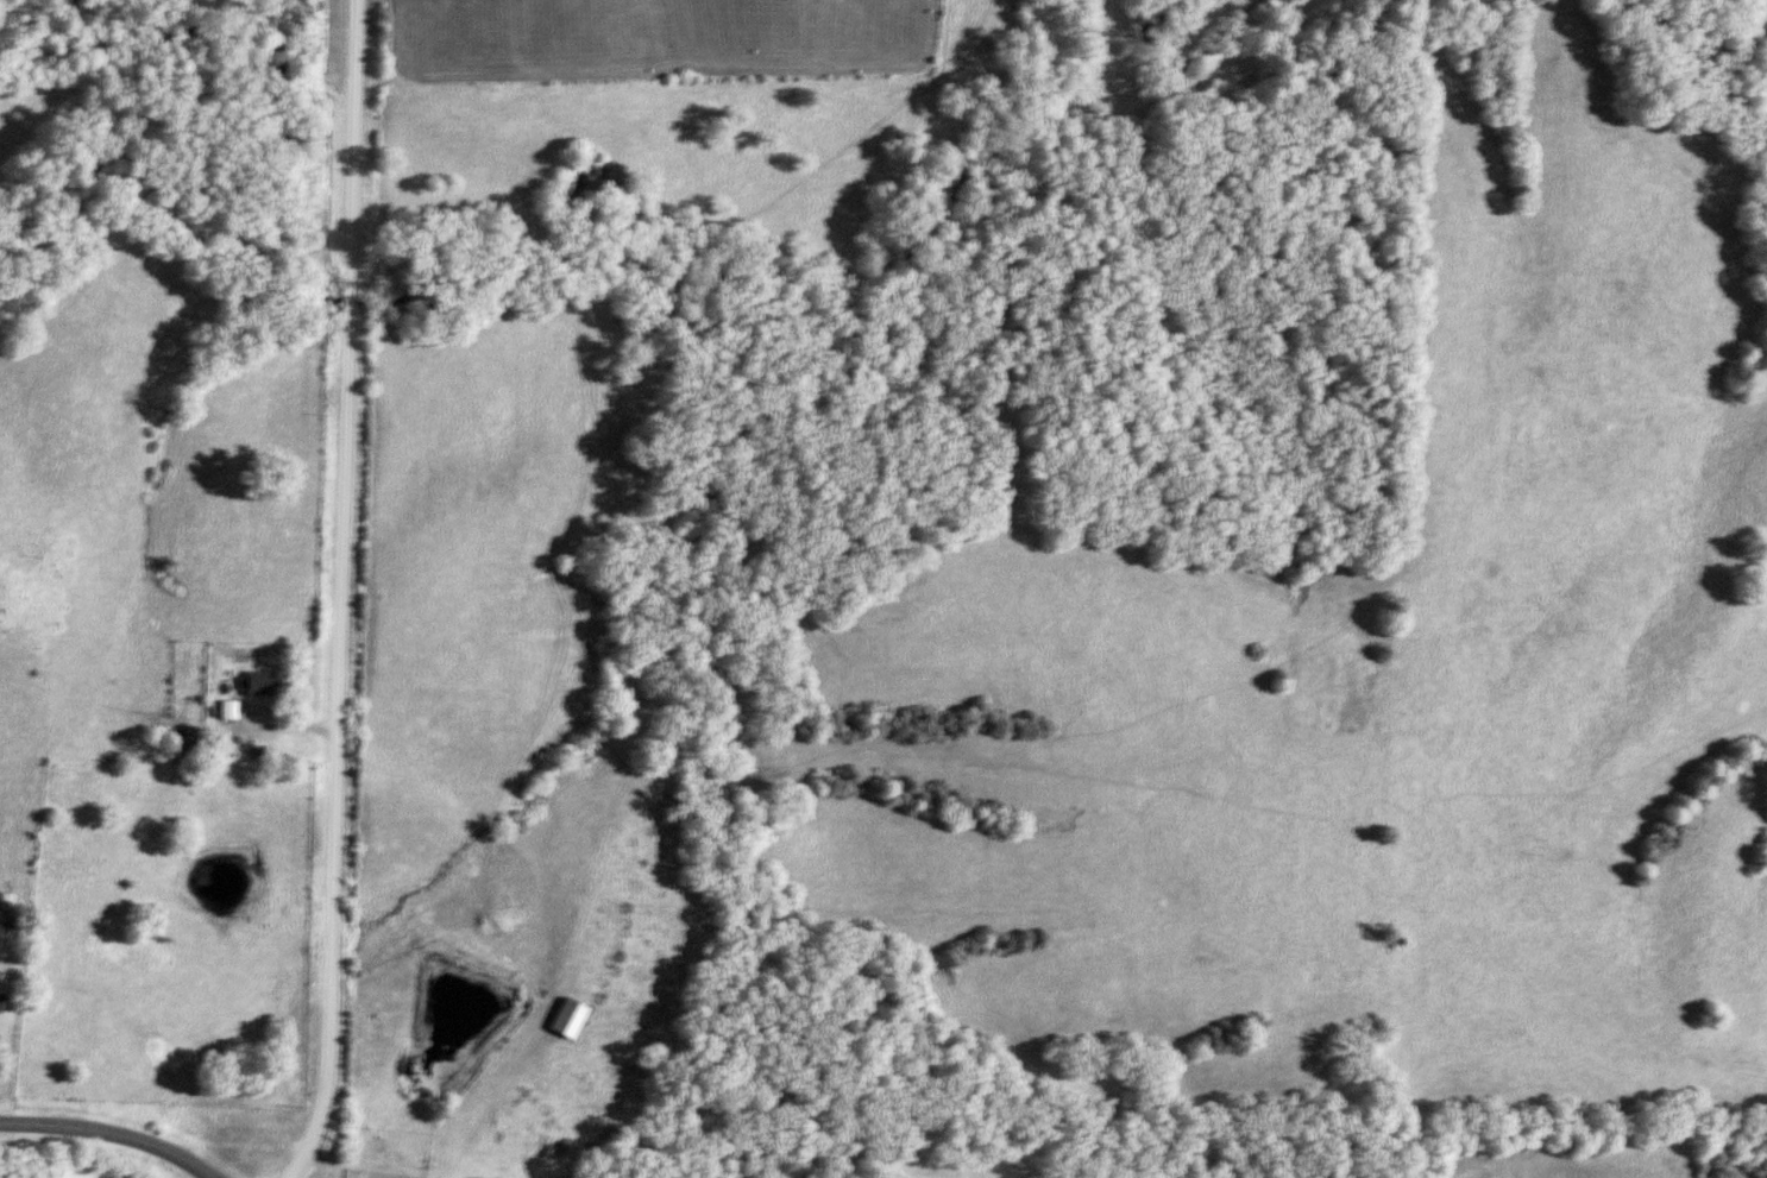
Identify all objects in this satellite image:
road: (339, 593)
building: (266, 681)
building: (232, 708)
building: (6, 901)
building: (561, 1019)
road: (108, 1135)

